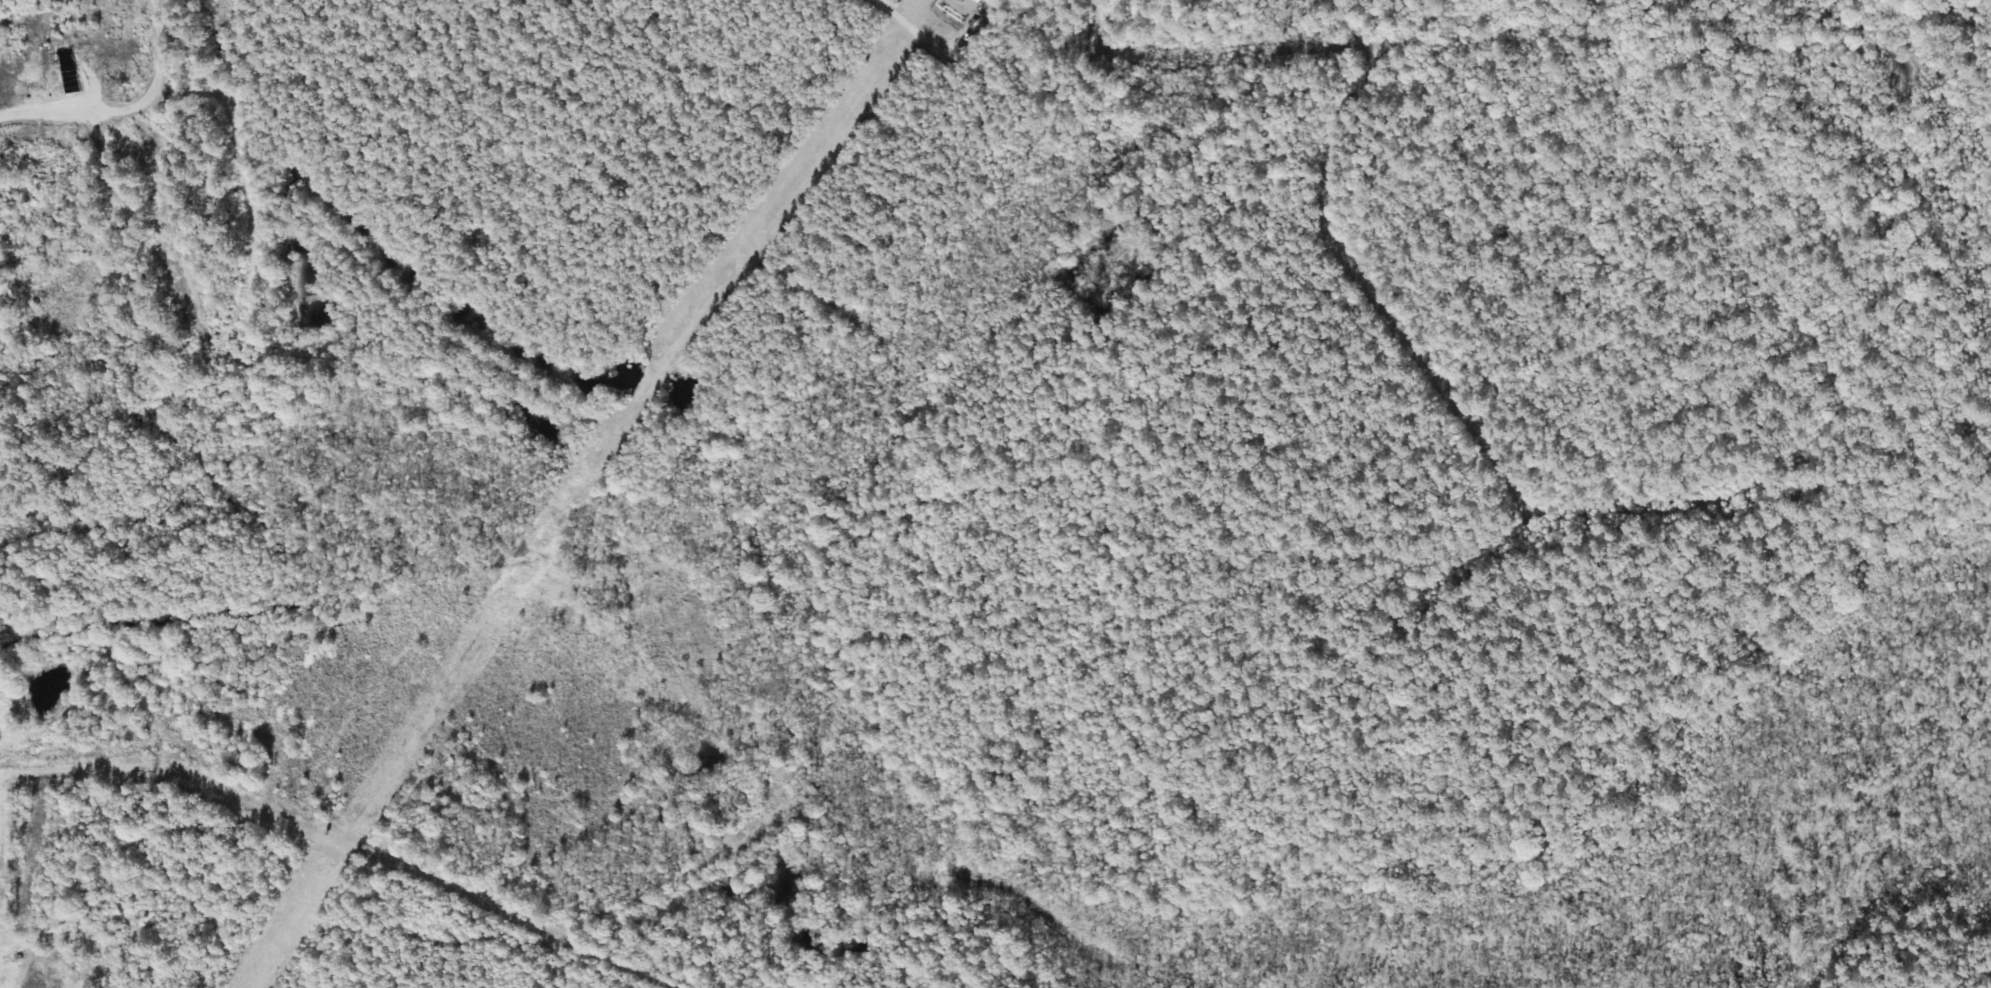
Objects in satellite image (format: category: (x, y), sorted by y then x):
road: (1050, 4)
road: (141, 24)
road: (228, 117)
road: (343, 849)

